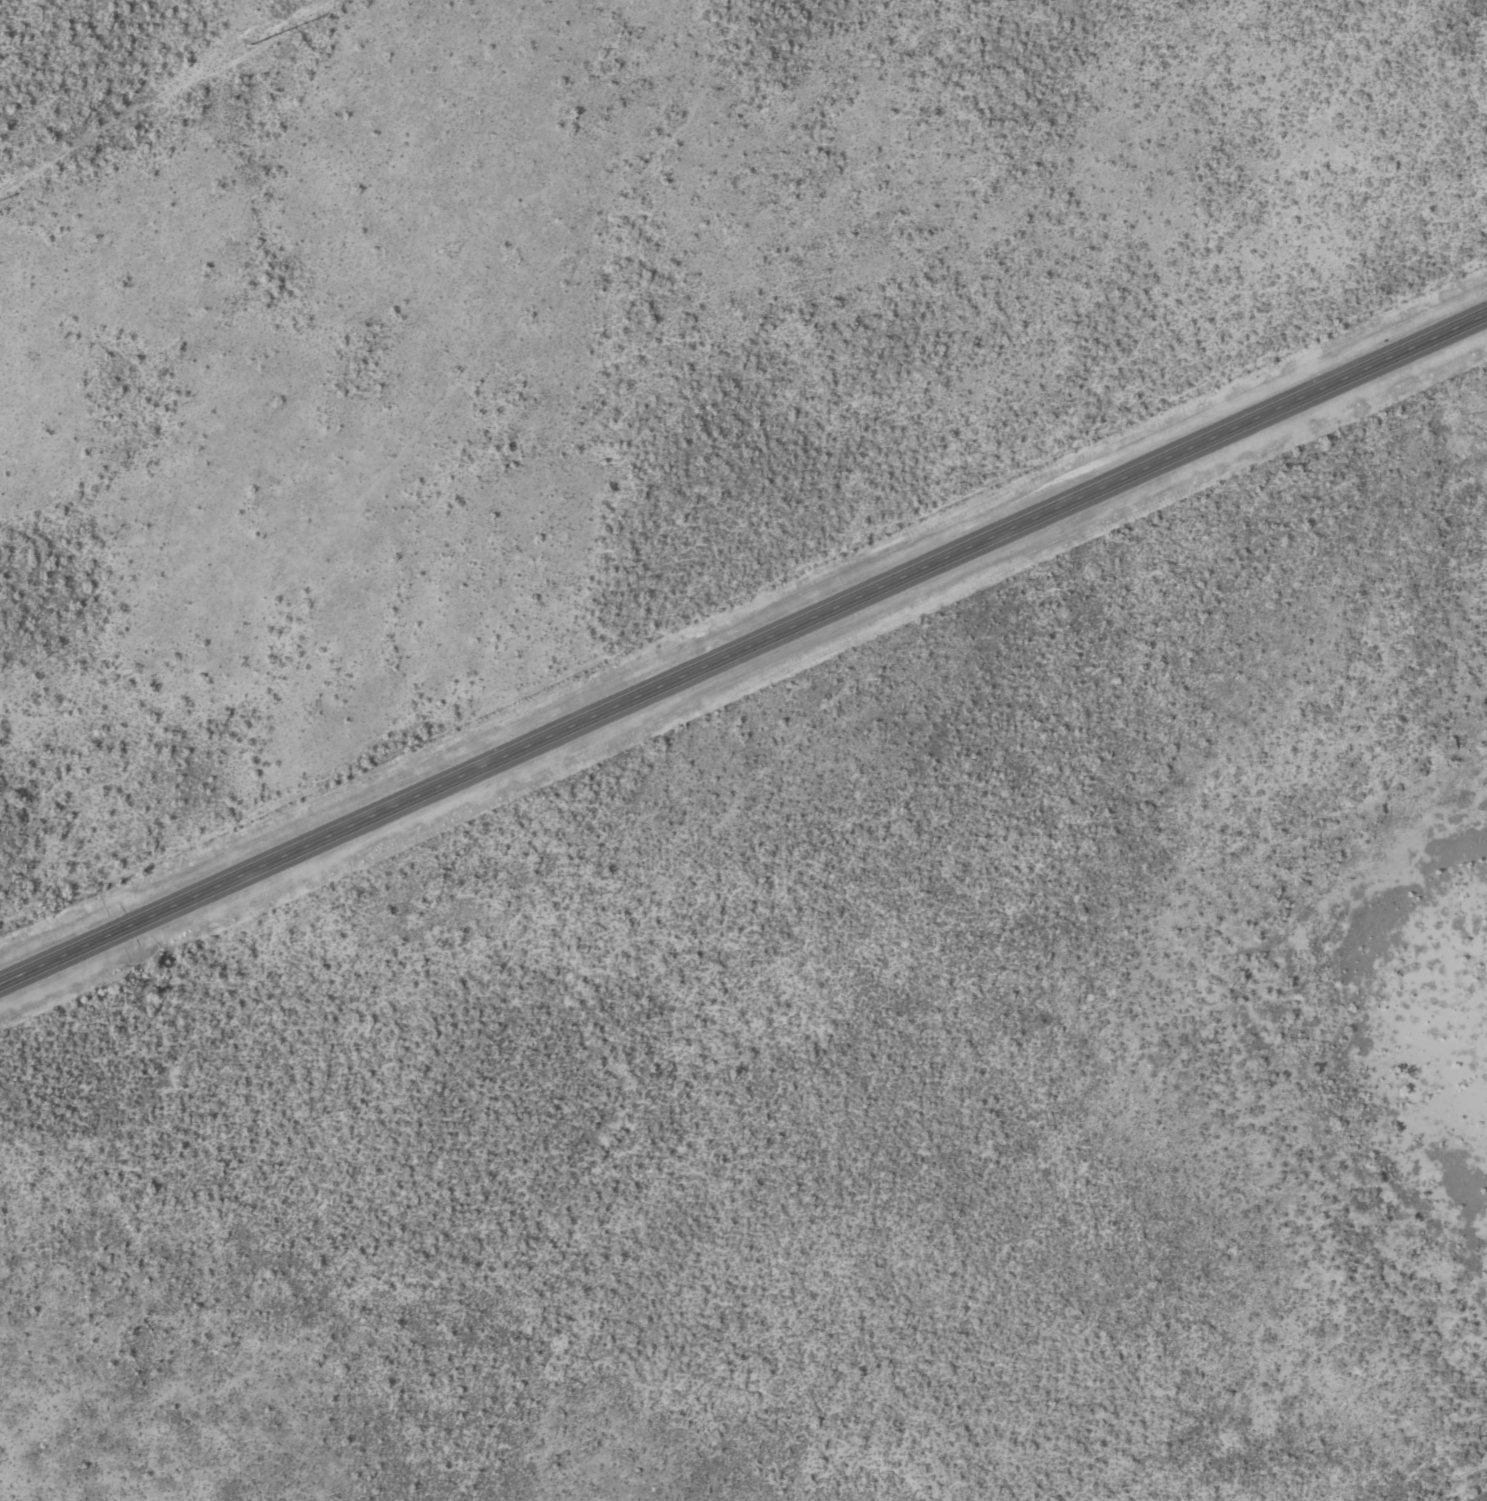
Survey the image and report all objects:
power tower: (248, 45)
road: (744, 655)
railway: (1479, 1497)

